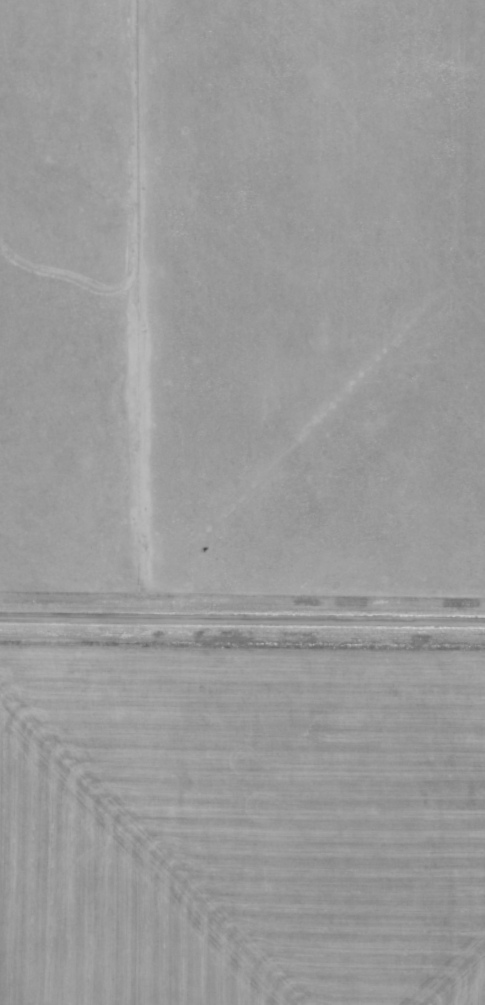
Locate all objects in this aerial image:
road: (242, 615)

